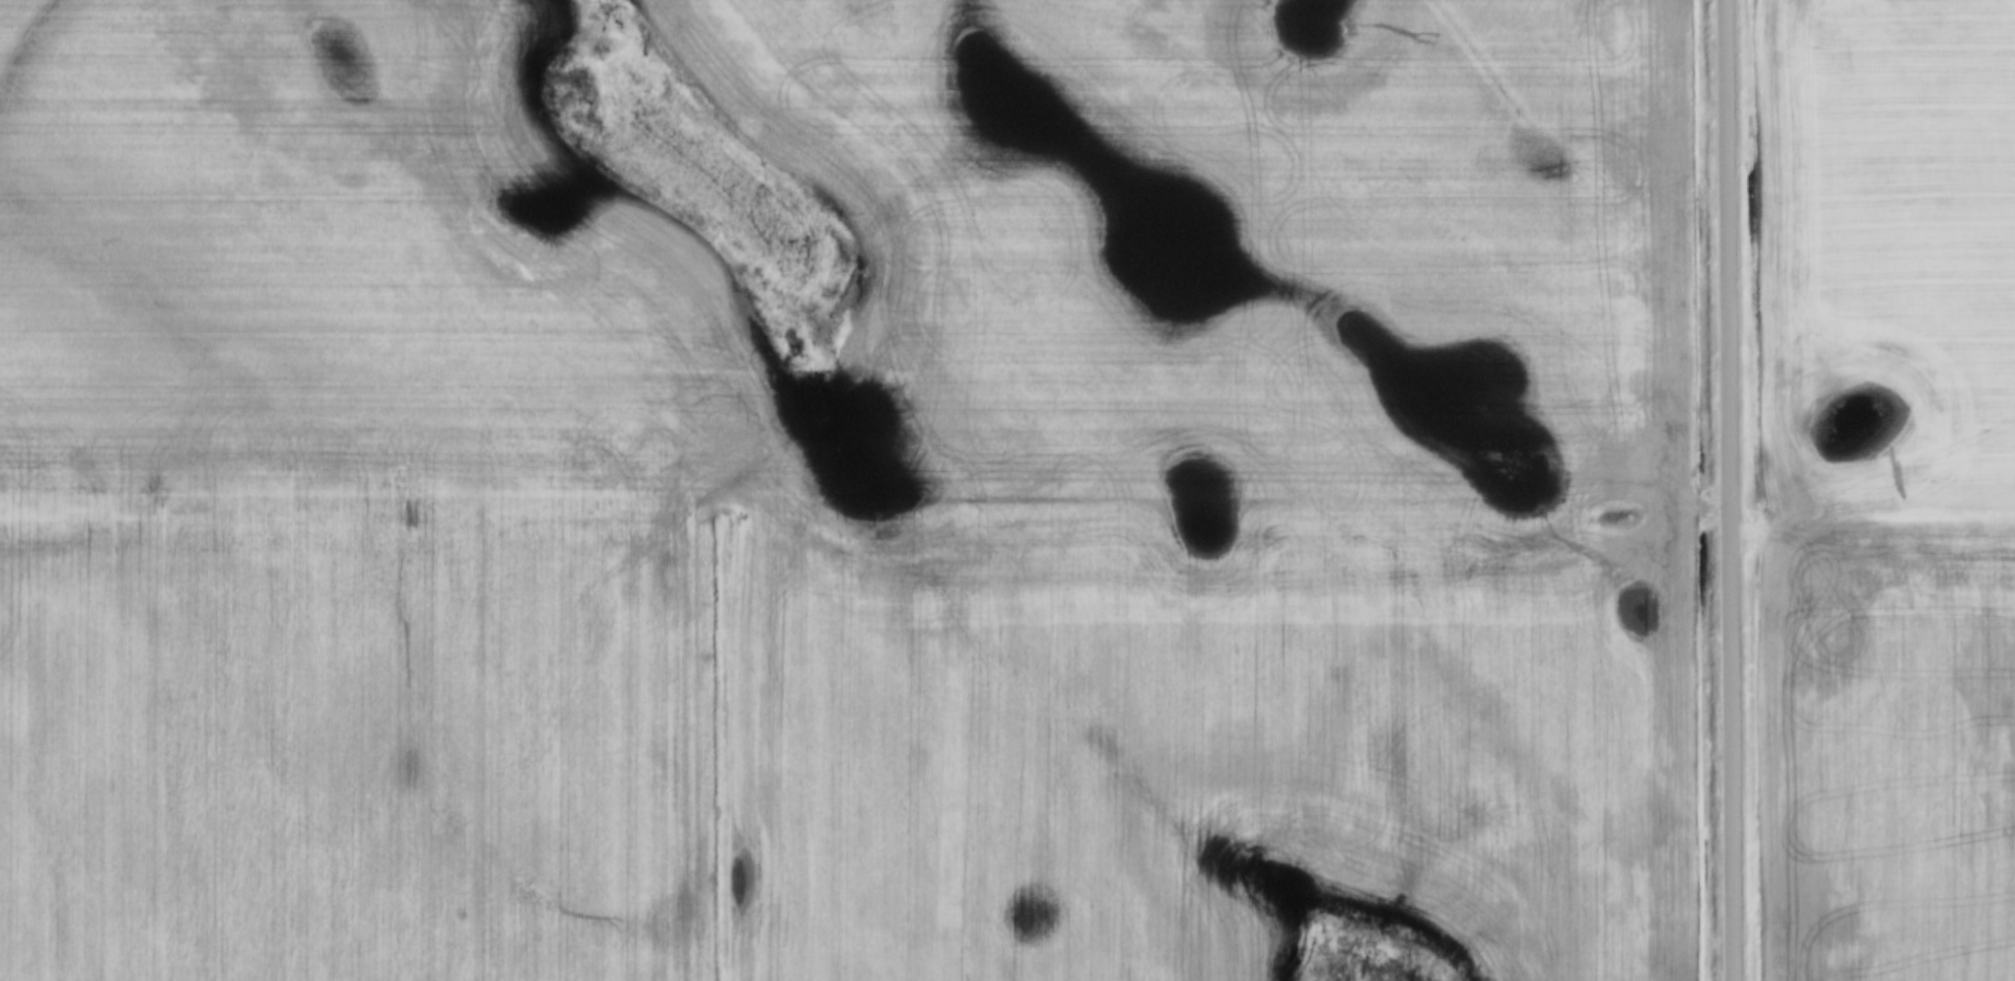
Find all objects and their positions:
road: (1726, 490)

